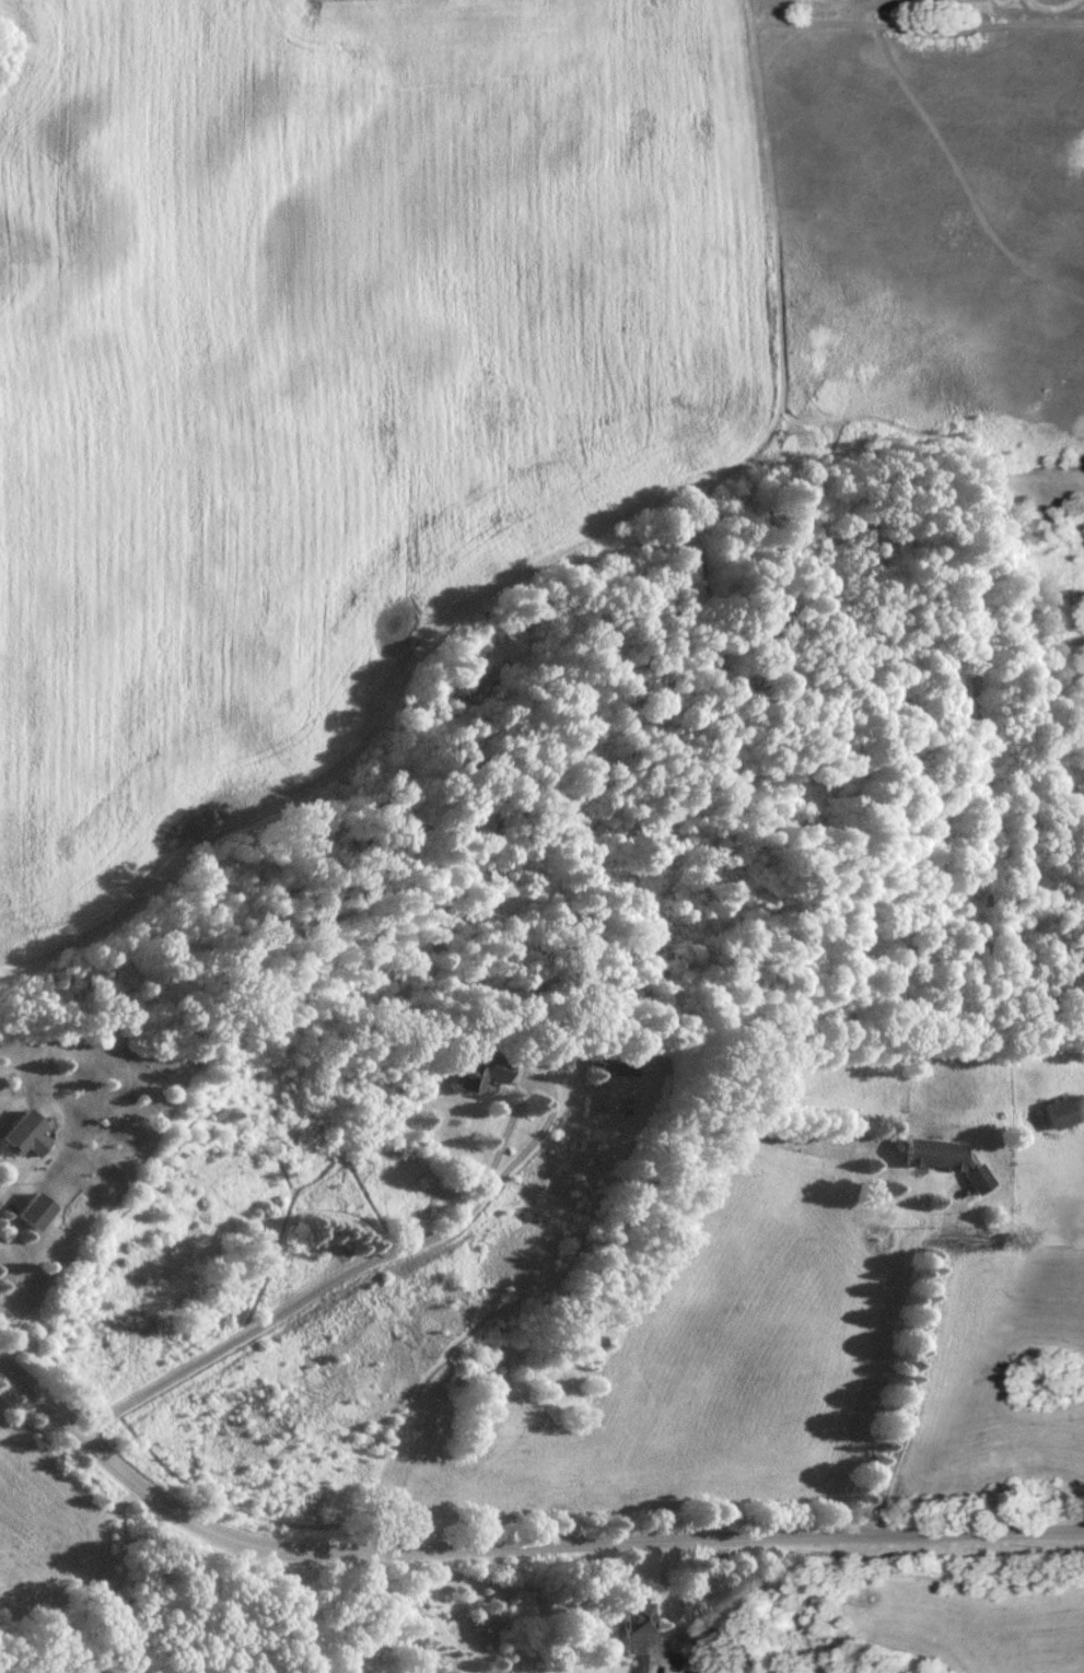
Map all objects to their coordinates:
crop: (325, 389)
building: (609, 1069)
building: (478, 1075)
building: (1059, 1118)
building: (24, 1140)
building: (942, 1166)
road: (7, 1200)
building: (30, 1218)
road: (403, 1253)
road: (11, 1333)
road: (919, 1370)
road: (509, 1547)
building: (631, 1639)
road: (688, 1672)

